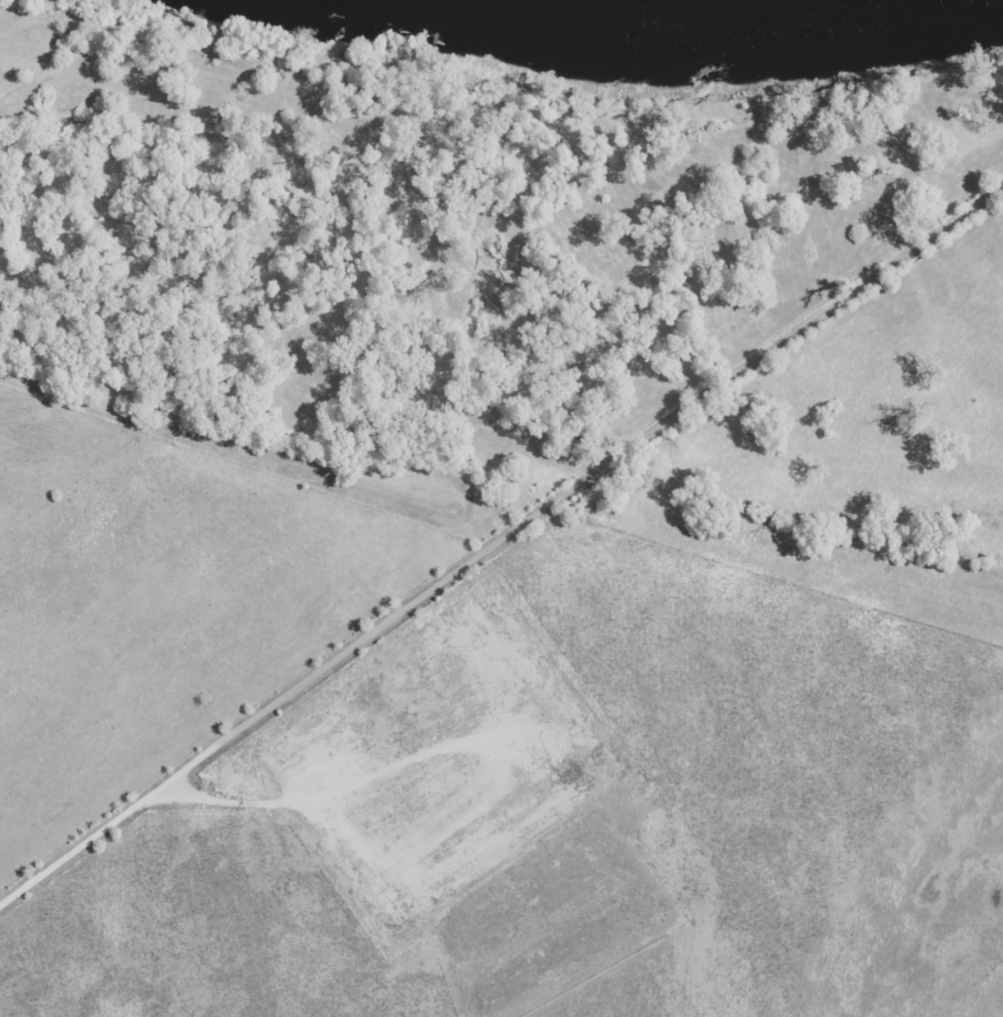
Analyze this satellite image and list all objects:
road: (305, 353)
road: (494, 540)

